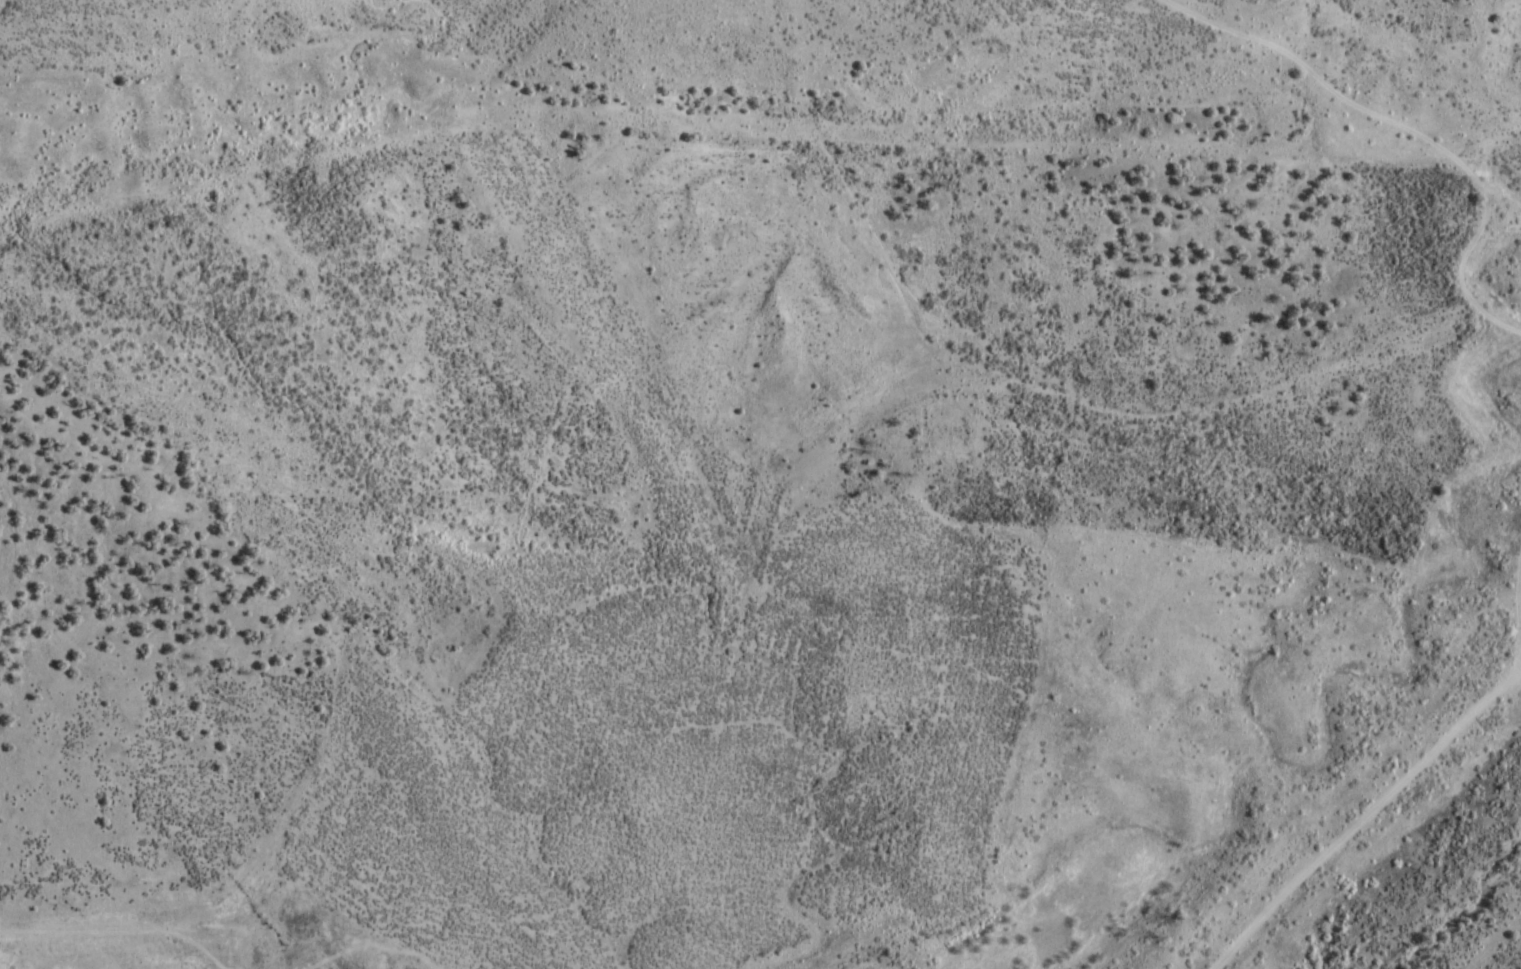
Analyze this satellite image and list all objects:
road: (1368, 814)

